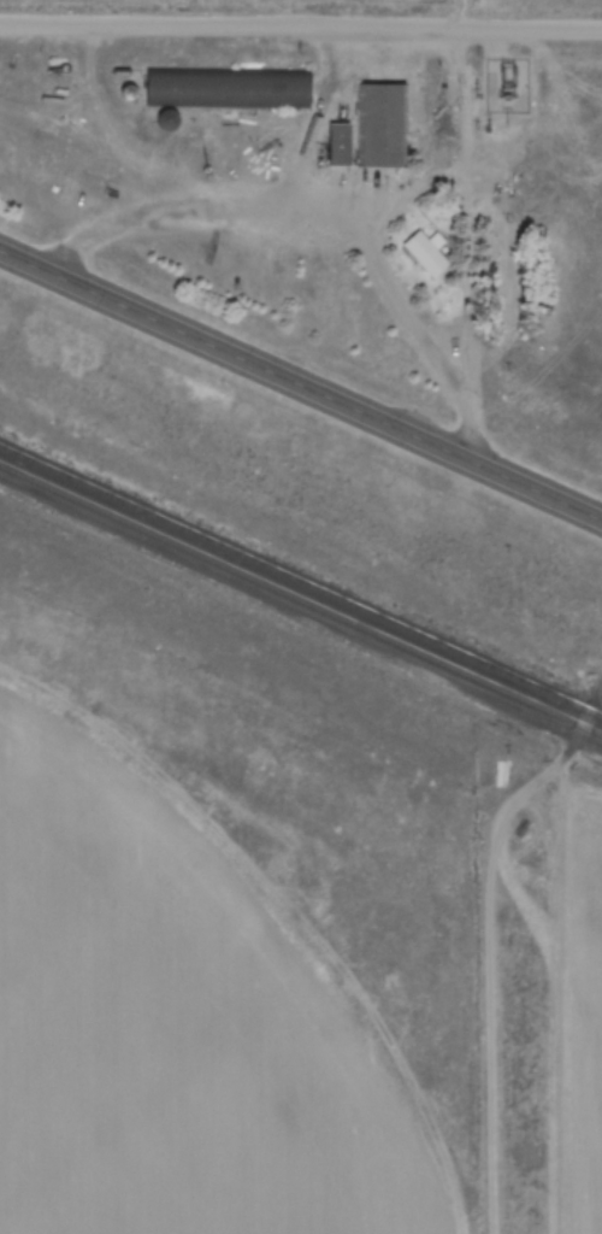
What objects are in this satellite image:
road: (301, 25)
building: (371, 129)
road: (320, 224)
building: (424, 253)
road: (299, 388)
railway: (300, 582)
railway: (300, 599)

